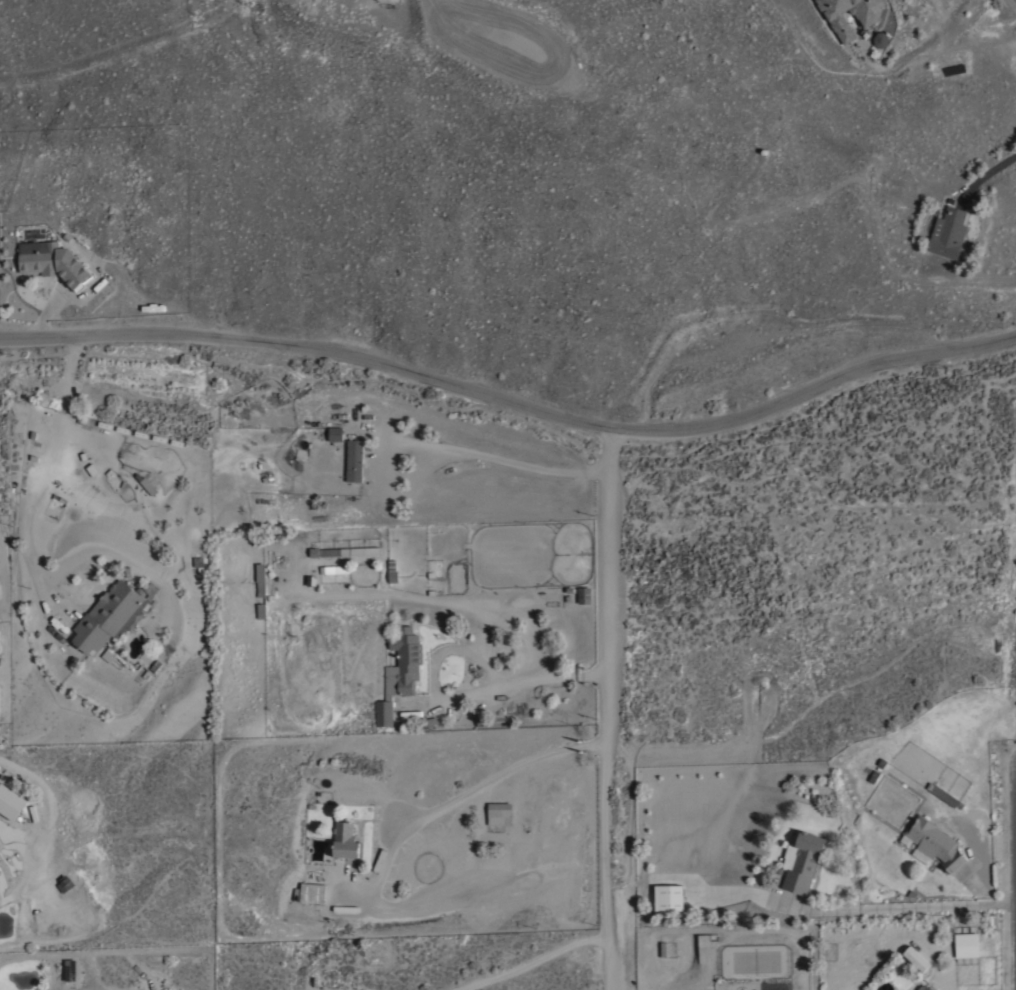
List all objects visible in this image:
building: (837, 21)
building: (878, 40)
road: (987, 177)
building: (947, 232)
building: (52, 262)
road: (514, 403)
building: (335, 433)
building: (354, 459)
road: (500, 460)
road: (40, 481)
building: (365, 550)
building: (334, 551)
building: (199, 563)
building: (334, 568)
building: (260, 572)
building: (392, 572)
building: (260, 588)
building: (584, 596)
building: (110, 616)
building: (107, 655)
building: (399, 672)
road: (520, 683)
road: (613, 711)
building: (481, 719)
building: (428, 722)
road: (479, 790)
building: (942, 794)
building: (10, 801)
building: (499, 813)
building: (345, 840)
building: (935, 843)
building: (803, 861)
building: (64, 884)
building: (309, 893)
building: (670, 897)
road: (1015, 903)
road: (910, 904)
building: (966, 944)
building: (916, 958)
road: (535, 960)
building: (70, 970)
building: (924, 987)

